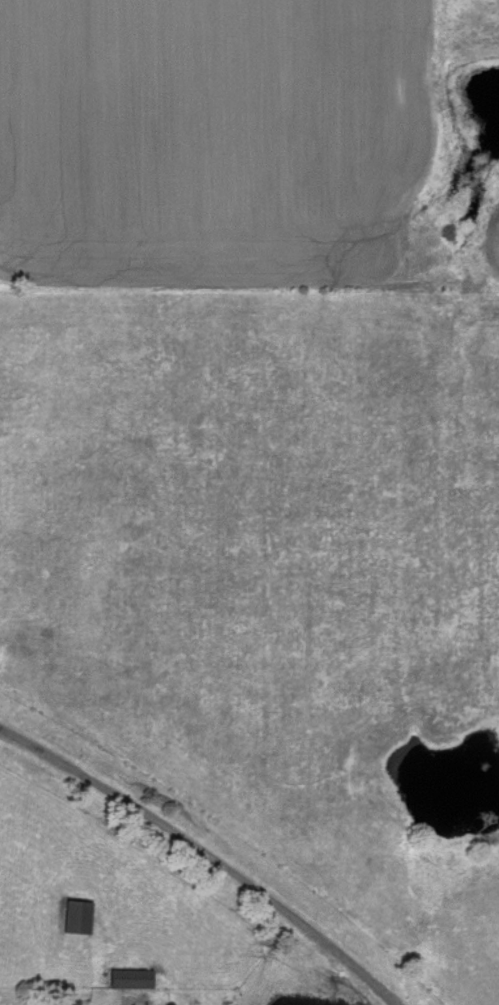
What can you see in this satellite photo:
building: (77, 916)
building: (130, 978)

